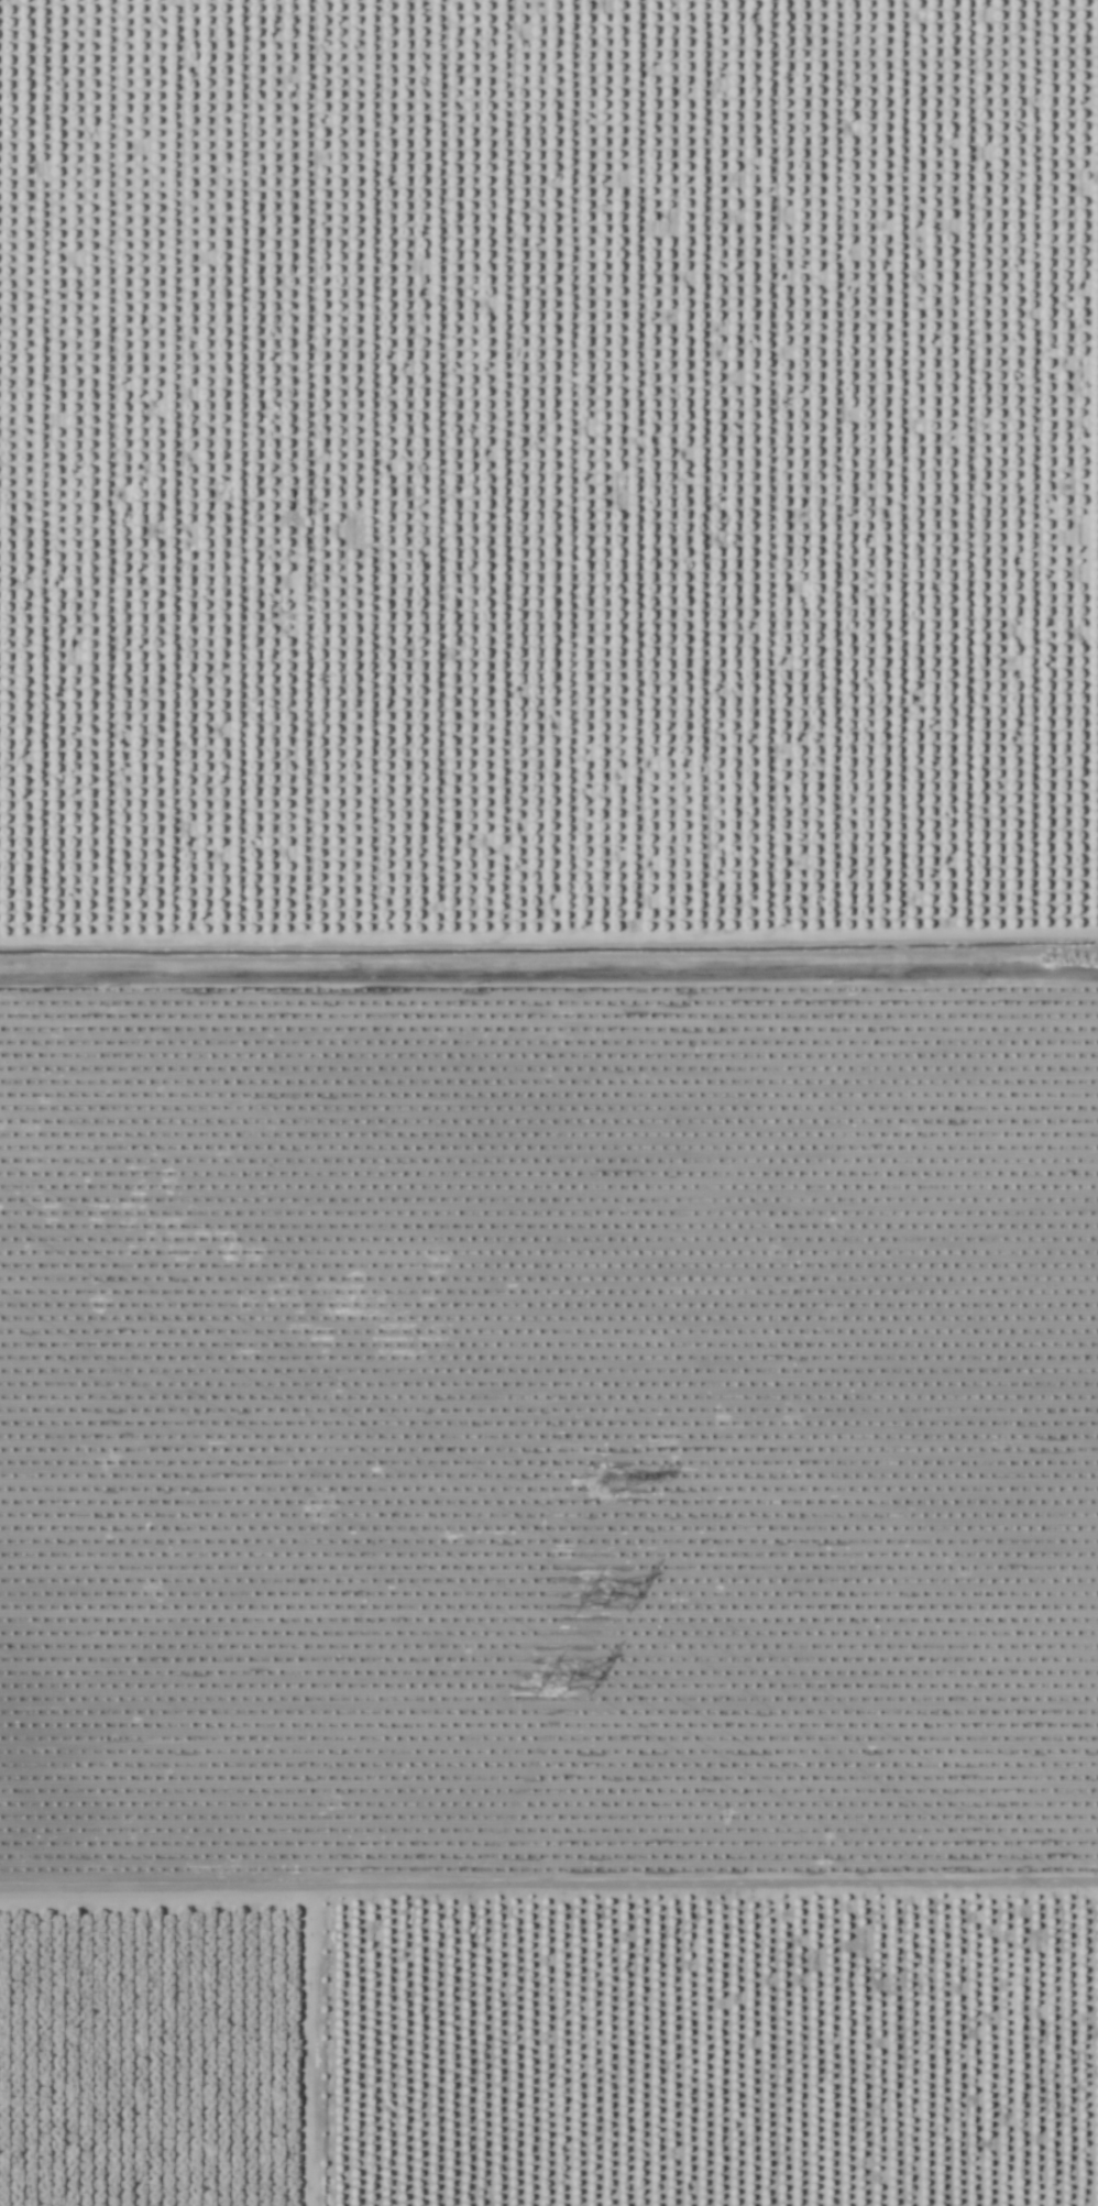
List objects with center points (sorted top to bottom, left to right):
road: (549, 998)
crop: (549, 1102)
power tower: (603, 1485)
power tower: (606, 1606)
power tower: (569, 1673)

